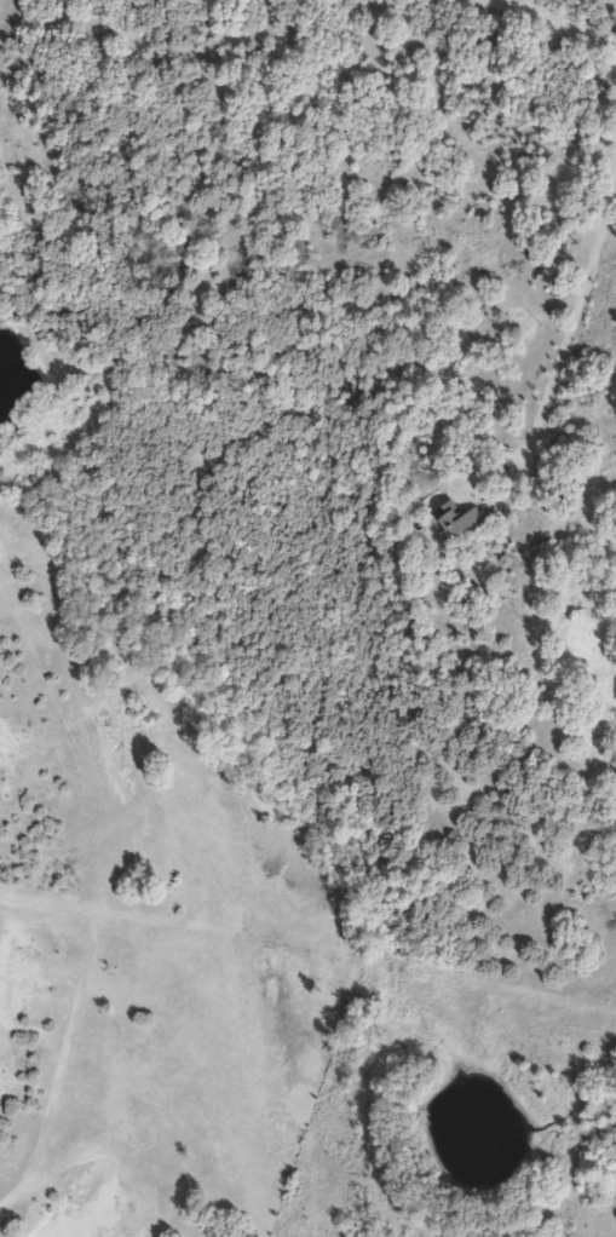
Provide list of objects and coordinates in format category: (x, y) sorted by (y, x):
road: (553, 23)
road: (569, 315)
building: (464, 522)
building: (583, 628)
building: (612, 784)

